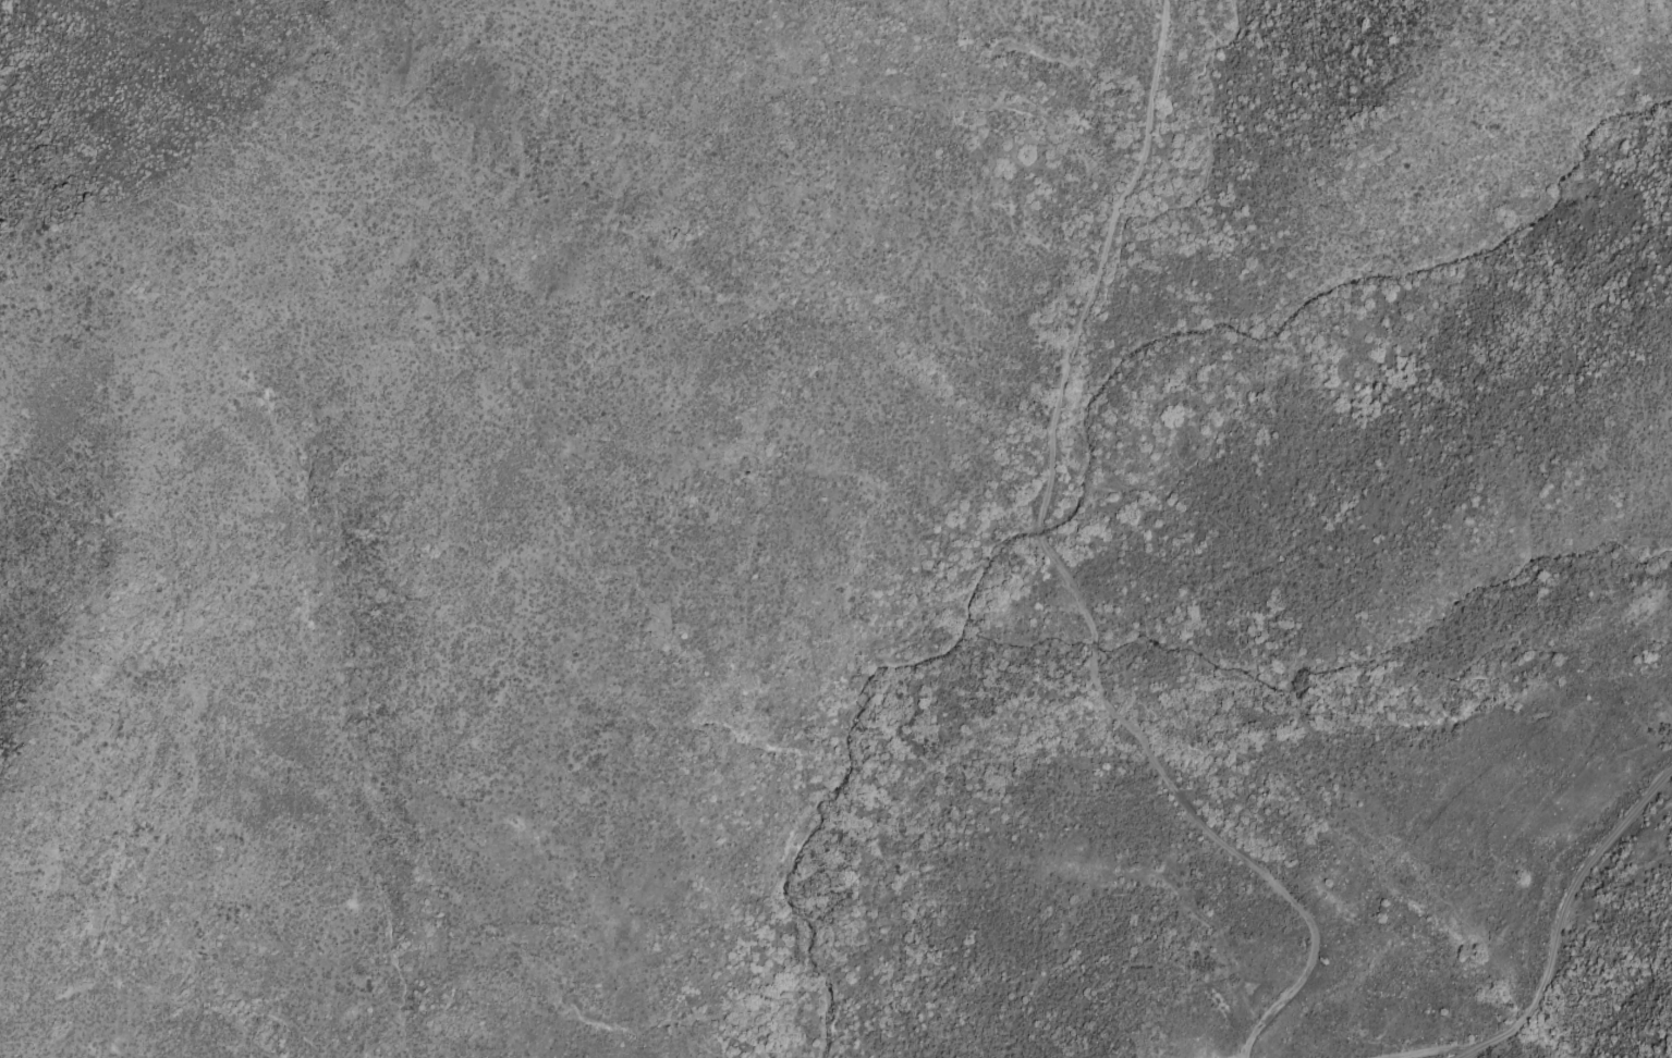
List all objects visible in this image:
road: (1555, 911)
road: (1433, 1046)

